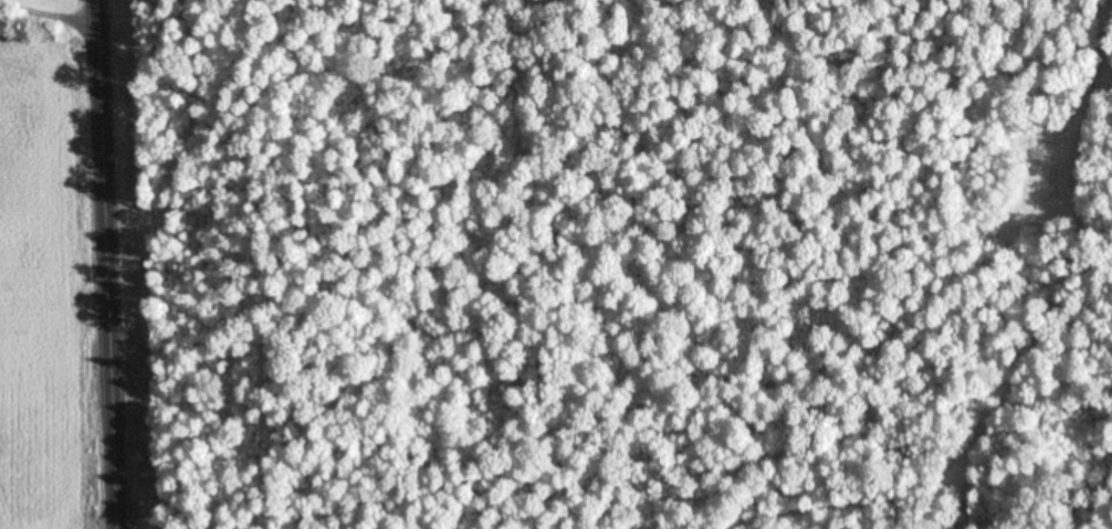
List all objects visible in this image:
road: (116, 264)

